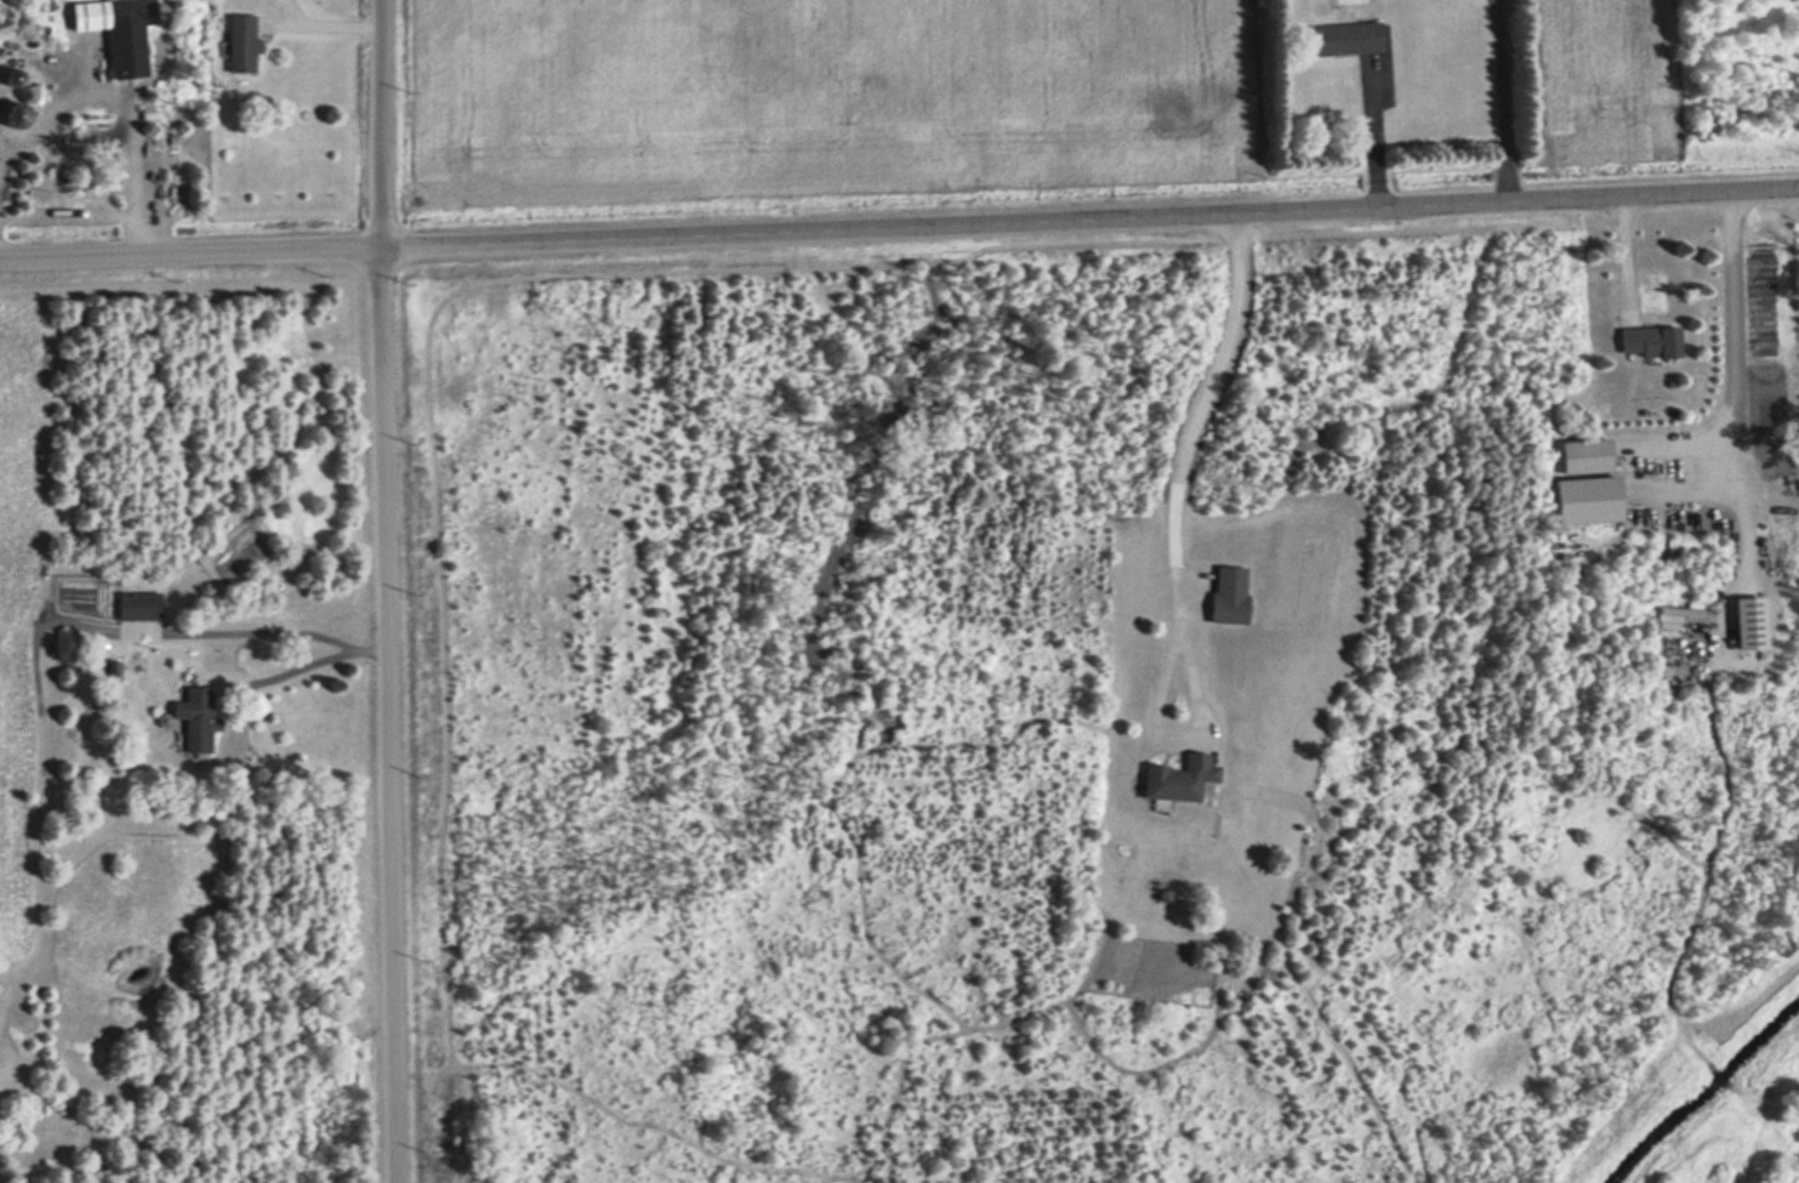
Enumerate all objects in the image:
building: (113, 0)
building: (1339, 38)
building: (234, 44)
road: (372, 125)
road: (1086, 218)
road: (186, 256)
building: (1644, 340)
building: (1578, 456)
building: (1223, 595)
building: (132, 605)
building: (109, 670)
building: (189, 717)
road: (380, 717)
building: (1173, 778)

